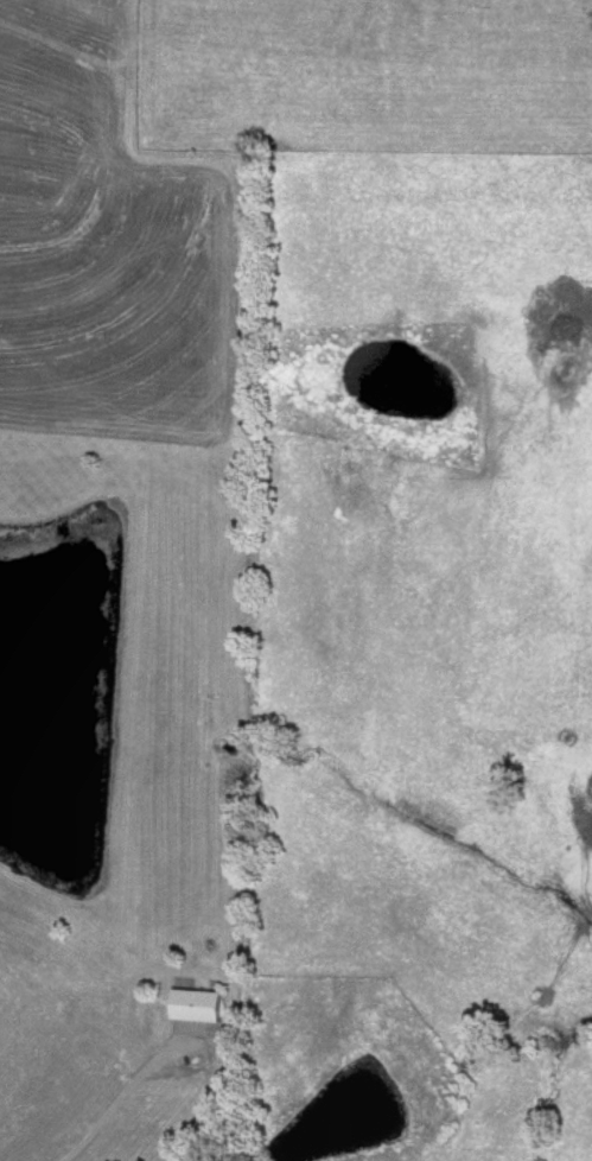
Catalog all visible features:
building: (196, 1005)
road: (119, 1092)

